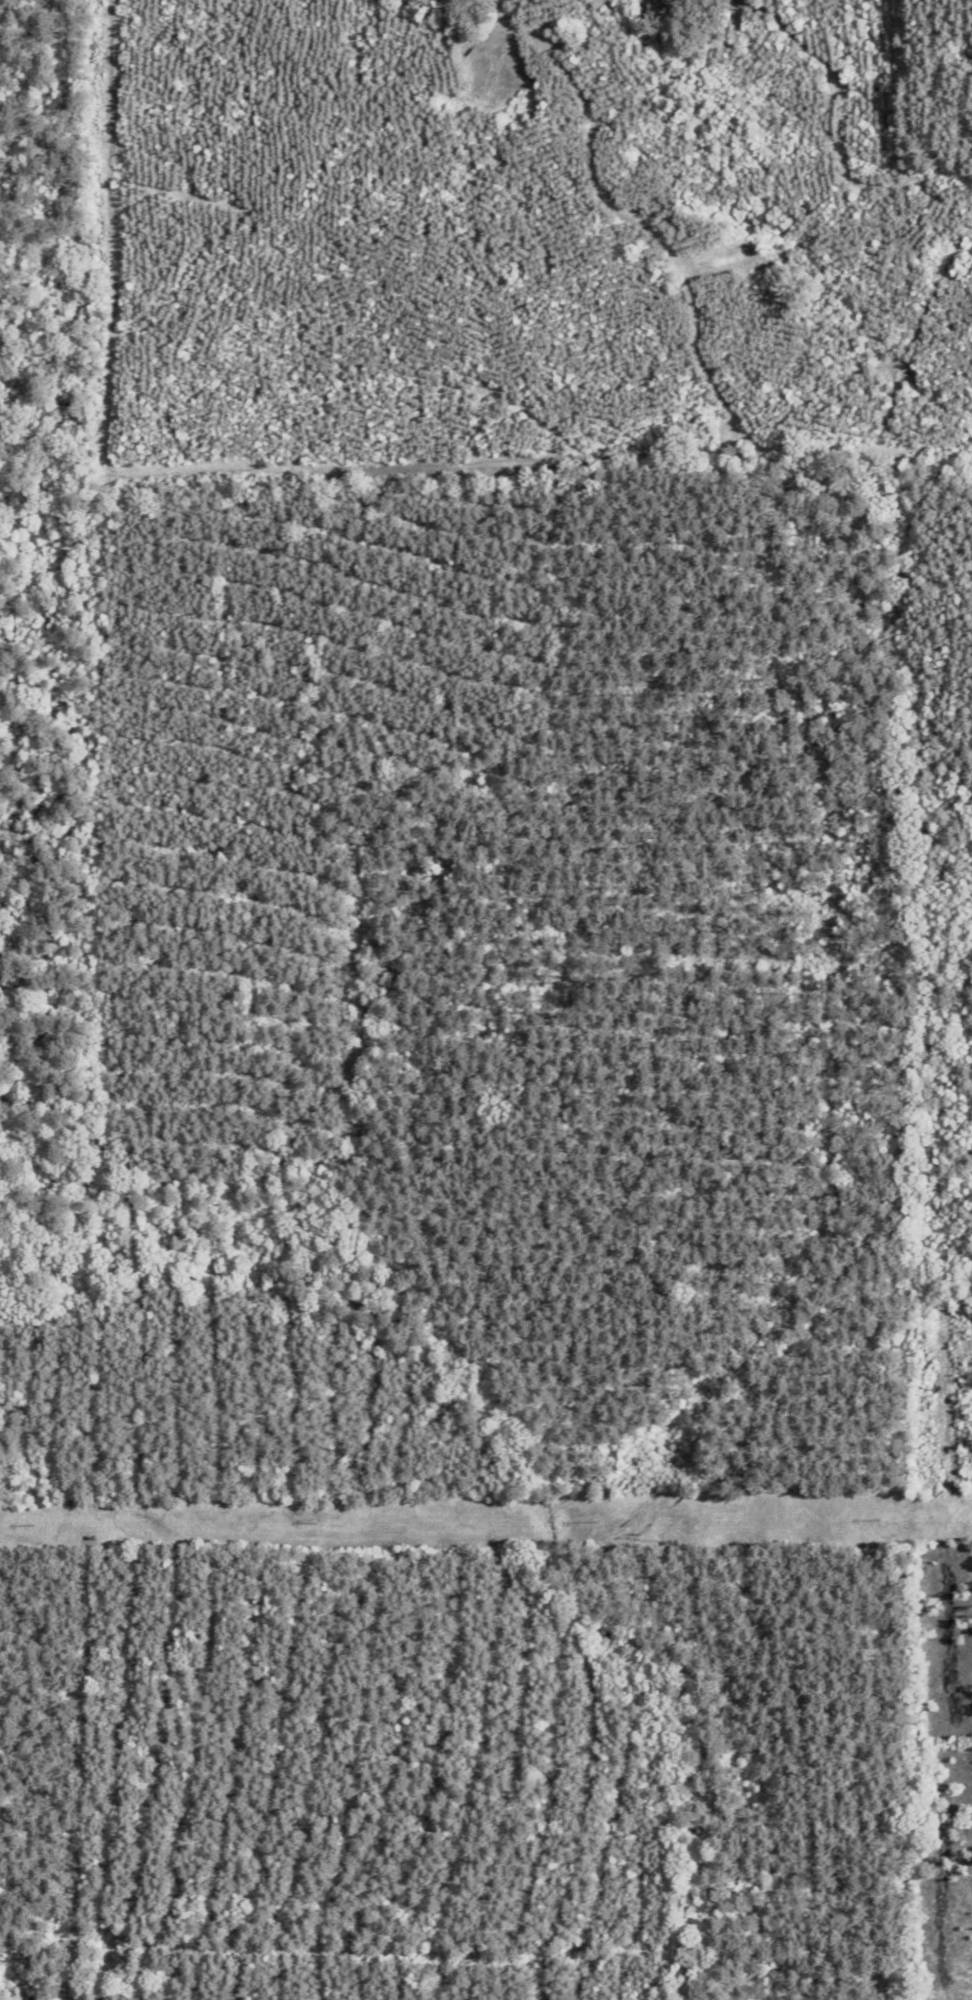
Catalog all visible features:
road: (929, 1706)
road: (883, 1818)

